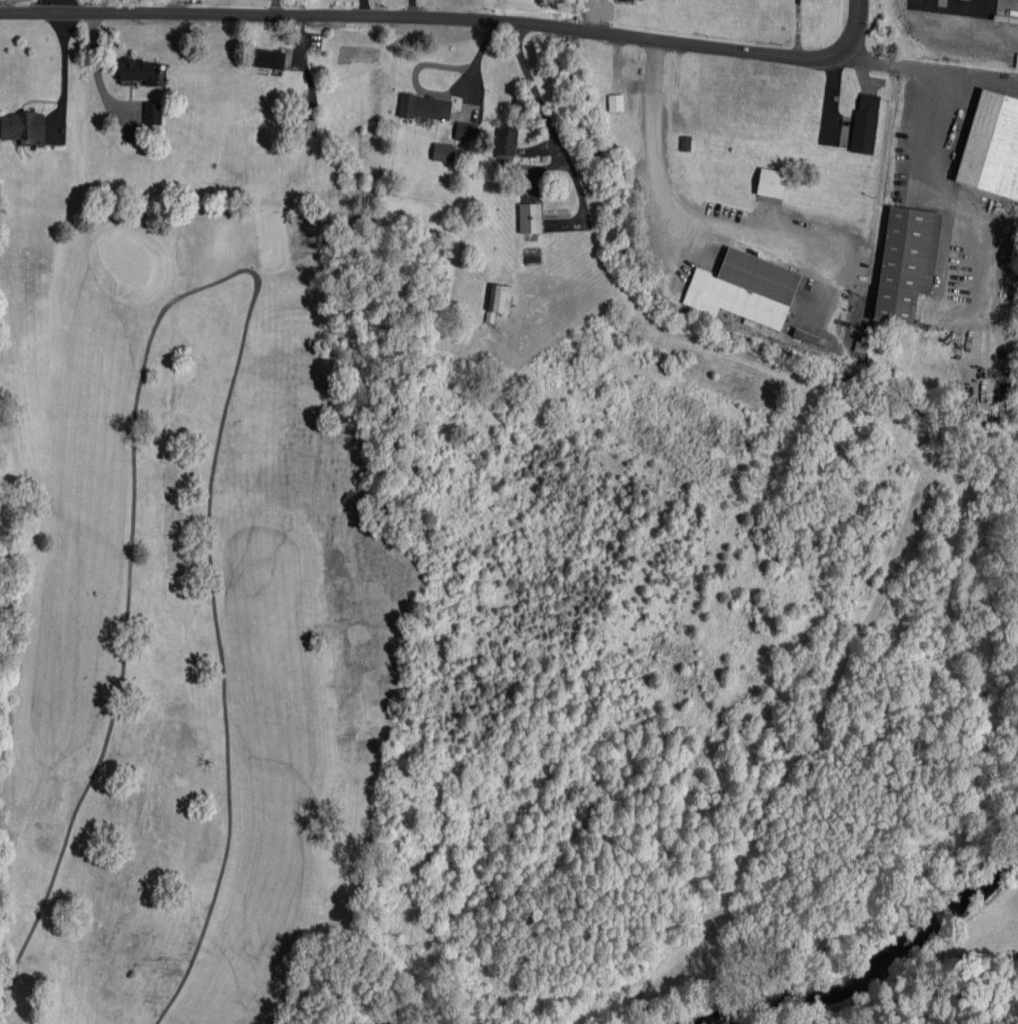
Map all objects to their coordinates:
building: (628, 0)
road: (55, 5)
road: (380, 7)
road: (451, 16)
road: (866, 57)
building: (270, 59)
building: (139, 71)
building: (616, 102)
road: (542, 105)
building: (425, 107)
building: (153, 113)
building: (865, 123)
building: (22, 125)
building: (307, 128)
building: (466, 131)
building: (506, 142)
building: (992, 146)
building: (443, 152)
building: (771, 183)
road: (947, 191)
road: (665, 206)
building: (530, 218)
park: (125, 260)
building: (906, 262)
building: (744, 289)
building: (498, 300)
park: (183, 611)
river: (882, 985)

